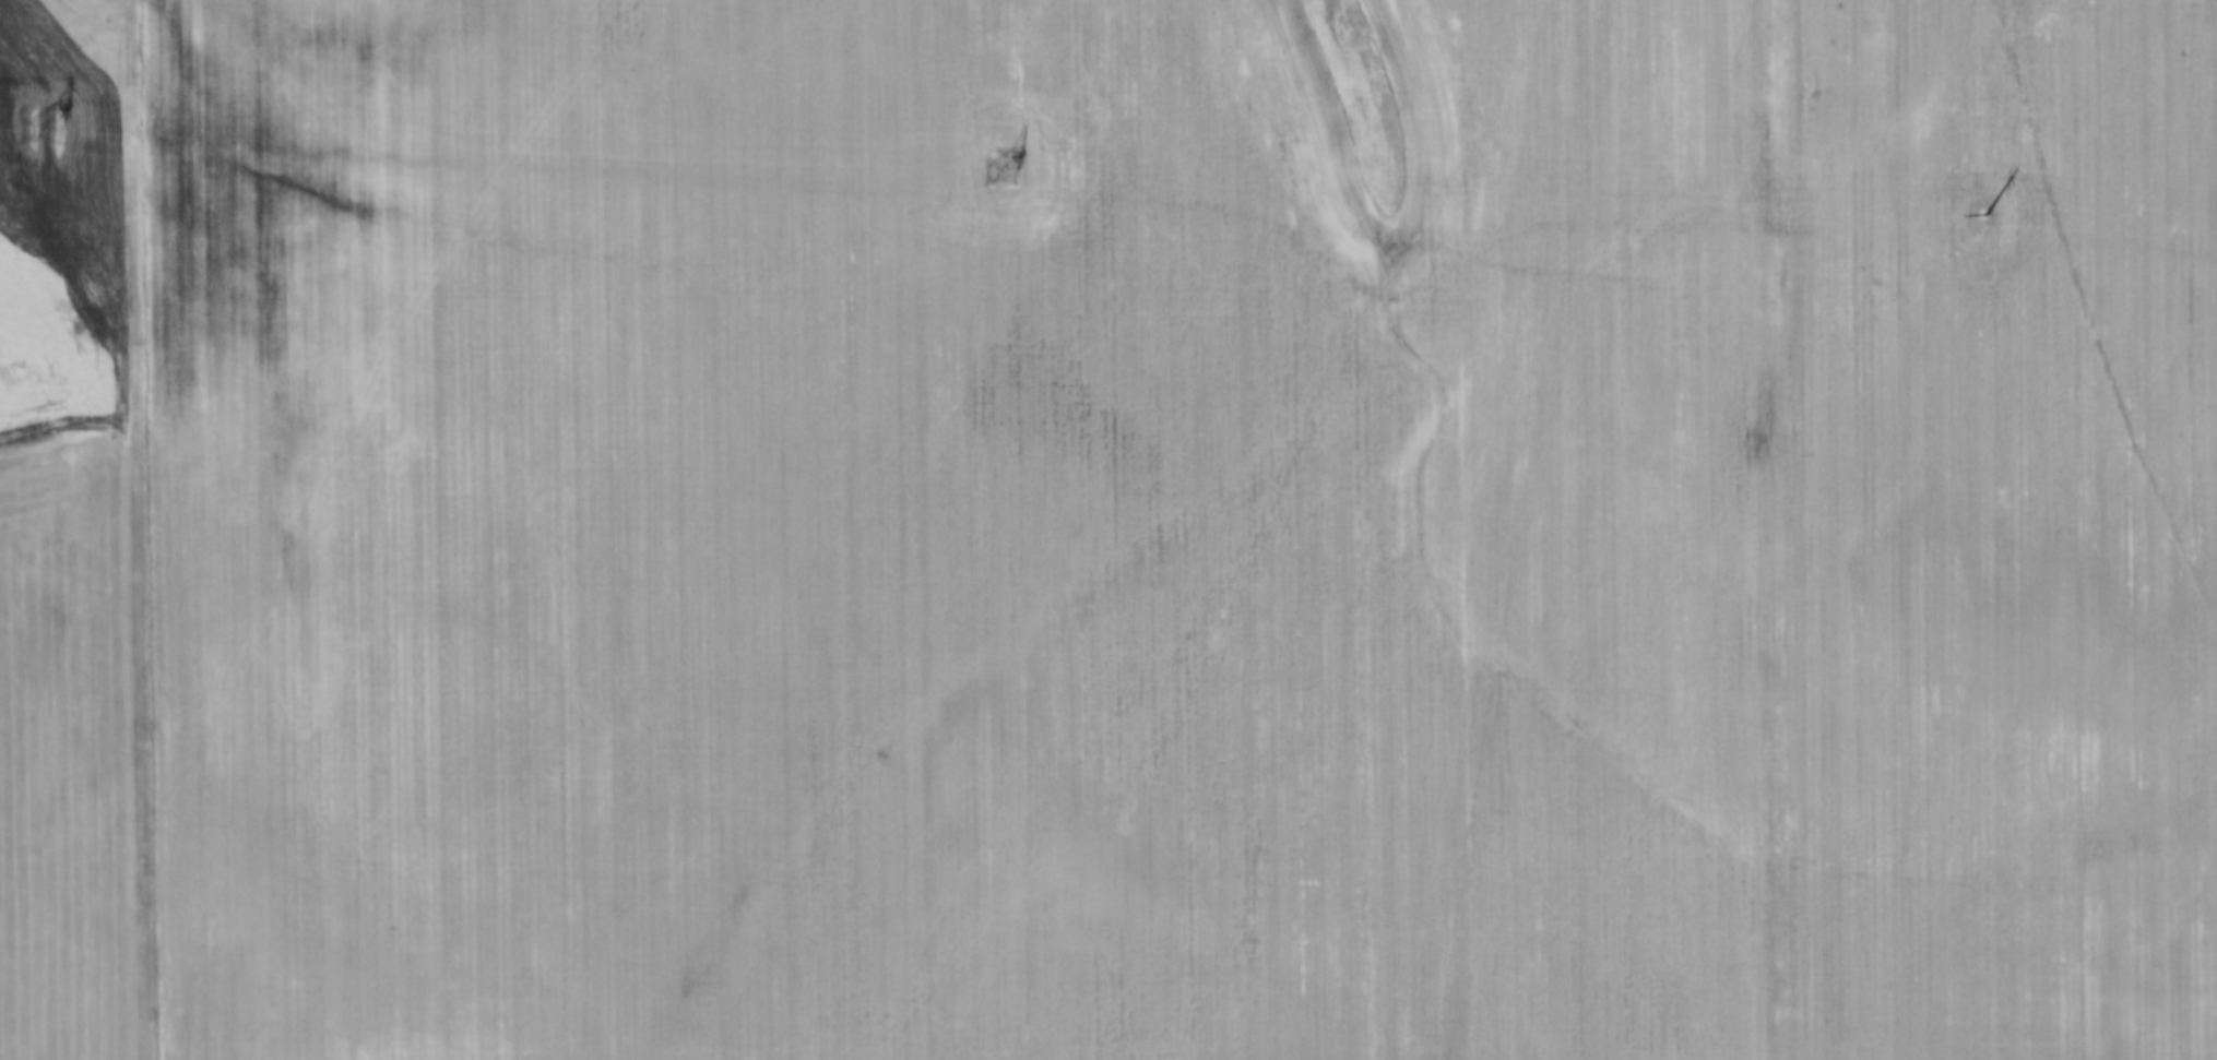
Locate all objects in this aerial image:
power tower: (62, 123)
power tower: (1021, 132)
power tower: (1971, 180)
road: (147, 529)

